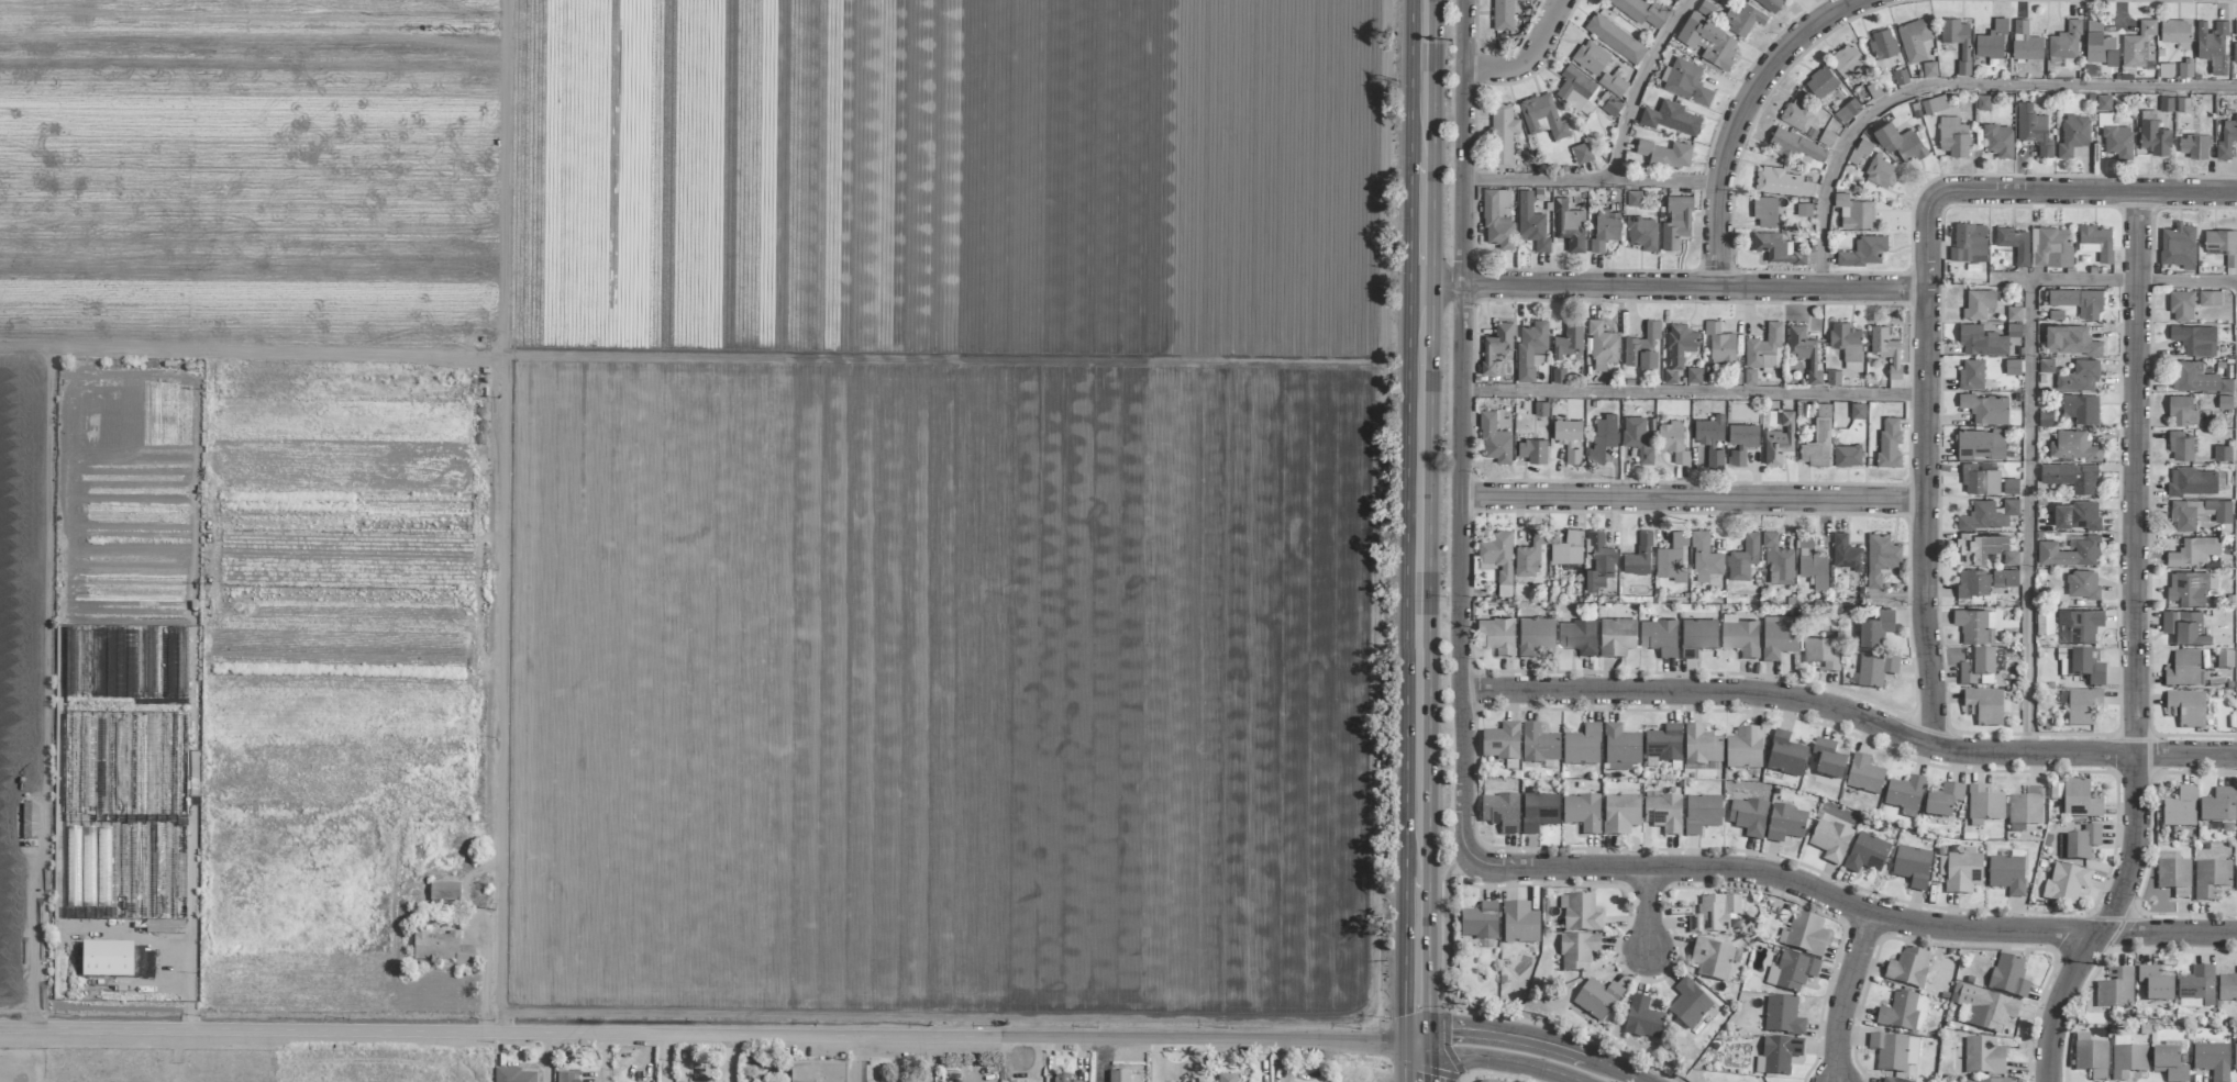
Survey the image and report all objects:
building: (1675, 0)
building: (1771, 3)
building: (1641, 11)
building: (1503, 14)
building: (1743, 19)
building: (2235, 27)
building: (2174, 31)
building: (1708, 36)
building: (1615, 38)
building: (1914, 38)
building: (1958, 41)
building: (2025, 42)
building: (2066, 42)
building: (1992, 43)
building: (1883, 44)
building: (2100, 44)
building: (2138, 45)
building: (2212, 45)
building: (2235, 53)
building: (1591, 57)
road: (1529, 59)
building: (1847, 60)
building: (1929, 69)
building: (2185, 70)
building: (1687, 81)
building: (1820, 82)
building: (1612, 83)
road: (1639, 85)
road: (1959, 86)
building: (1575, 89)
building: (1983, 102)
building: (2166, 103)
building: (1934, 104)
building: (2183, 104)
building: (1610, 107)
building: (1848, 111)
building: (1797, 115)
building: (1542, 116)
road: (1740, 116)
building: (1671, 118)
building: (2034, 129)
building: (1503, 134)
building: (2153, 134)
building: (2073, 135)
building: (1953, 136)
building: (2115, 137)
building: (2226, 138)
building: (1998, 140)
road: (1421, 142)
road: (1463, 142)
building: (1900, 142)
building: (1795, 146)
building: (2193, 146)
building: (1860, 150)
building: (1582, 153)
building: (1666, 154)
building: (1881, 172)
road: (1591, 180)
building: (1783, 182)
road: (2084, 192)
building: (1765, 212)
building: (1854, 212)
building: (1497, 219)
building: (1676, 222)
building: (1531, 223)
building: (1570, 225)
building: (1605, 230)
building: (1642, 233)
building: (1968, 241)
building: (2095, 242)
building: (2014, 243)
building: (2222, 245)
building: (2179, 246)
building: (2051, 247)
building: (1776, 248)
building: (1864, 252)
road: (2115, 280)
road: (1440, 283)
road: (1693, 286)
building: (2210, 298)
building: (2079, 301)
building: (1979, 303)
building: (2181, 305)
building: (2014, 313)
building: (2013, 330)
road: (1448, 332)
building: (2189, 339)
building: (1569, 341)
building: (2070, 341)
building: (1982, 342)
building: (1720, 344)
building: (1847, 344)
building: (1496, 345)
building: (1602, 345)
building: (1642, 347)
building: (1765, 347)
building: (1530, 348)
building: (1885, 348)
building: (1804, 352)
building: (1679, 353)
building: (2046, 365)
building: (2013, 367)
building: (1971, 375)
building: (1693, 376)
building: (1832, 377)
building: (2080, 377)
building: (2197, 378)
road: (1693, 392)
building: (1985, 408)
building: (2081, 408)
building: (1857, 411)
building: (2182, 411)
building: (1603, 437)
building: (1569, 438)
building: (1638, 438)
building: (1494, 439)
building: (1710, 439)
building: (1779, 439)
building: (1818, 439)
building: (1672, 440)
building: (1741, 443)
building: (1890, 443)
building: (1981, 444)
building: (2073, 446)
building: (2181, 446)
building: (1532, 450)
building: (2223, 453)
building: (1847, 456)
road: (1926, 472)
building: (2071, 477)
building: (1980, 480)
building: (2192, 481)
building: (2009, 486)
road: (1692, 499)
crop: (690, 500)
building: (2197, 513)
building: (1989, 514)
building: (2078, 515)
road: (2029, 516)
building: (1980, 546)
building: (1568, 548)
building: (2194, 551)
building: (1846, 553)
building: (2070, 553)
building: (1497, 554)
building: (1529, 555)
building: (1639, 556)
building: (1704, 557)
building: (1672, 558)
building: (1743, 558)
building: (1880, 558)
building: (1778, 561)
building: (1812, 562)
road: (1459, 569)
road: (2134, 569)
building: (2005, 578)
building: (1973, 583)
building: (2082, 584)
building: (2188, 588)
building: (2044, 621)
building: (1975, 626)
building: (2079, 626)
building: (1875, 627)
building: (2185, 629)
building: (1535, 635)
building: (1496, 636)
building: (1740, 636)
building: (1779, 636)
building: (1577, 637)
building: (1616, 637)
building: (1659, 637)
building: (1697, 637)
building: (1821, 652)
building: (2224, 661)
road: (1419, 662)
building: (2080, 666)
building: (1980, 668)
building: (1874, 670)
building: (2182, 670)
building: (1983, 706)
building: (2082, 707)
building: (2185, 709)
road: (1849, 716)
building: (1500, 743)
building: (1663, 744)
building: (1538, 745)
building: (1582, 746)
building: (1701, 747)
building: (1620, 749)
building: (1743, 749)
building: (1827, 759)
building: (1863, 776)
building: (1904, 795)
building: (2080, 800)
building: (1942, 803)
building: (1983, 804)
building: (2180, 808)
building: (2219, 808)
building: (2024, 810)
building: (1538, 812)
building: (1499, 813)
building: (1581, 813)
building: (1619, 814)
building: (1662, 814)
building: (1701, 814)
building: (1747, 817)
building: (1785, 824)
building: (1829, 840)
building: (2078, 844)
building: (1865, 855)
building: (1911, 867)
building: (1962, 873)
building: (2006, 874)
building: (2173, 877)
building: (2210, 879)
building: (2235, 880)
building: (2064, 884)
building: (443, 892)
building: (102, 893)
road: (1848, 904)
road: (1646, 908)
building: (1579, 914)
building: (1714, 915)
building: (1479, 922)
building: (1519, 924)
building: (164, 927)
road: (1444, 927)
building: (1805, 935)
road: (1448, 938)
road: (155, 941)
building: (441, 949)
building: (1576, 952)
building: (1712, 960)
building: (114, 961)
building: (1907, 968)
building: (1791, 972)
road: (486, 978)
building: (2007, 978)
building: (2155, 984)
building: (2196, 985)
building: (2227, 988)
building: (2115, 990)
road: (1845, 995)
building: (1594, 1002)
road: (2059, 1004)
building: (1687, 1005)
building: (1985, 1010)
building: (1898, 1013)
road: (188, 1016)
building: (1782, 1017)
building: (1641, 1019)
road: (1563, 1031)
road: (709, 1036)
road: (1530, 1040)
traffic signals: (1418, 1042)
building: (1893, 1052)
building: (1778, 1055)
building: (1983, 1057)
road: (545, 1058)
road: (602, 1058)
building: (2235, 1058)
road: (666, 1059)
road: (731, 1059)
road: (862, 1059)
building: (2091, 1059)
road: (946, 1060)
road: (1405, 1060)
road: (1497, 1060)
building: (2212, 1060)
road: (1428, 1061)
building: (2127, 1061)
building: (2168, 1064)
building: (817, 1072)
building: (511, 1075)
building: (566, 1077)
building: (1118, 1077)
building: (1060, 1078)
building: (1226, 1078)
road: (1460, 1078)
building: (1887, 1080)
building: (1517, 1081)
building: (1991, 1081)

